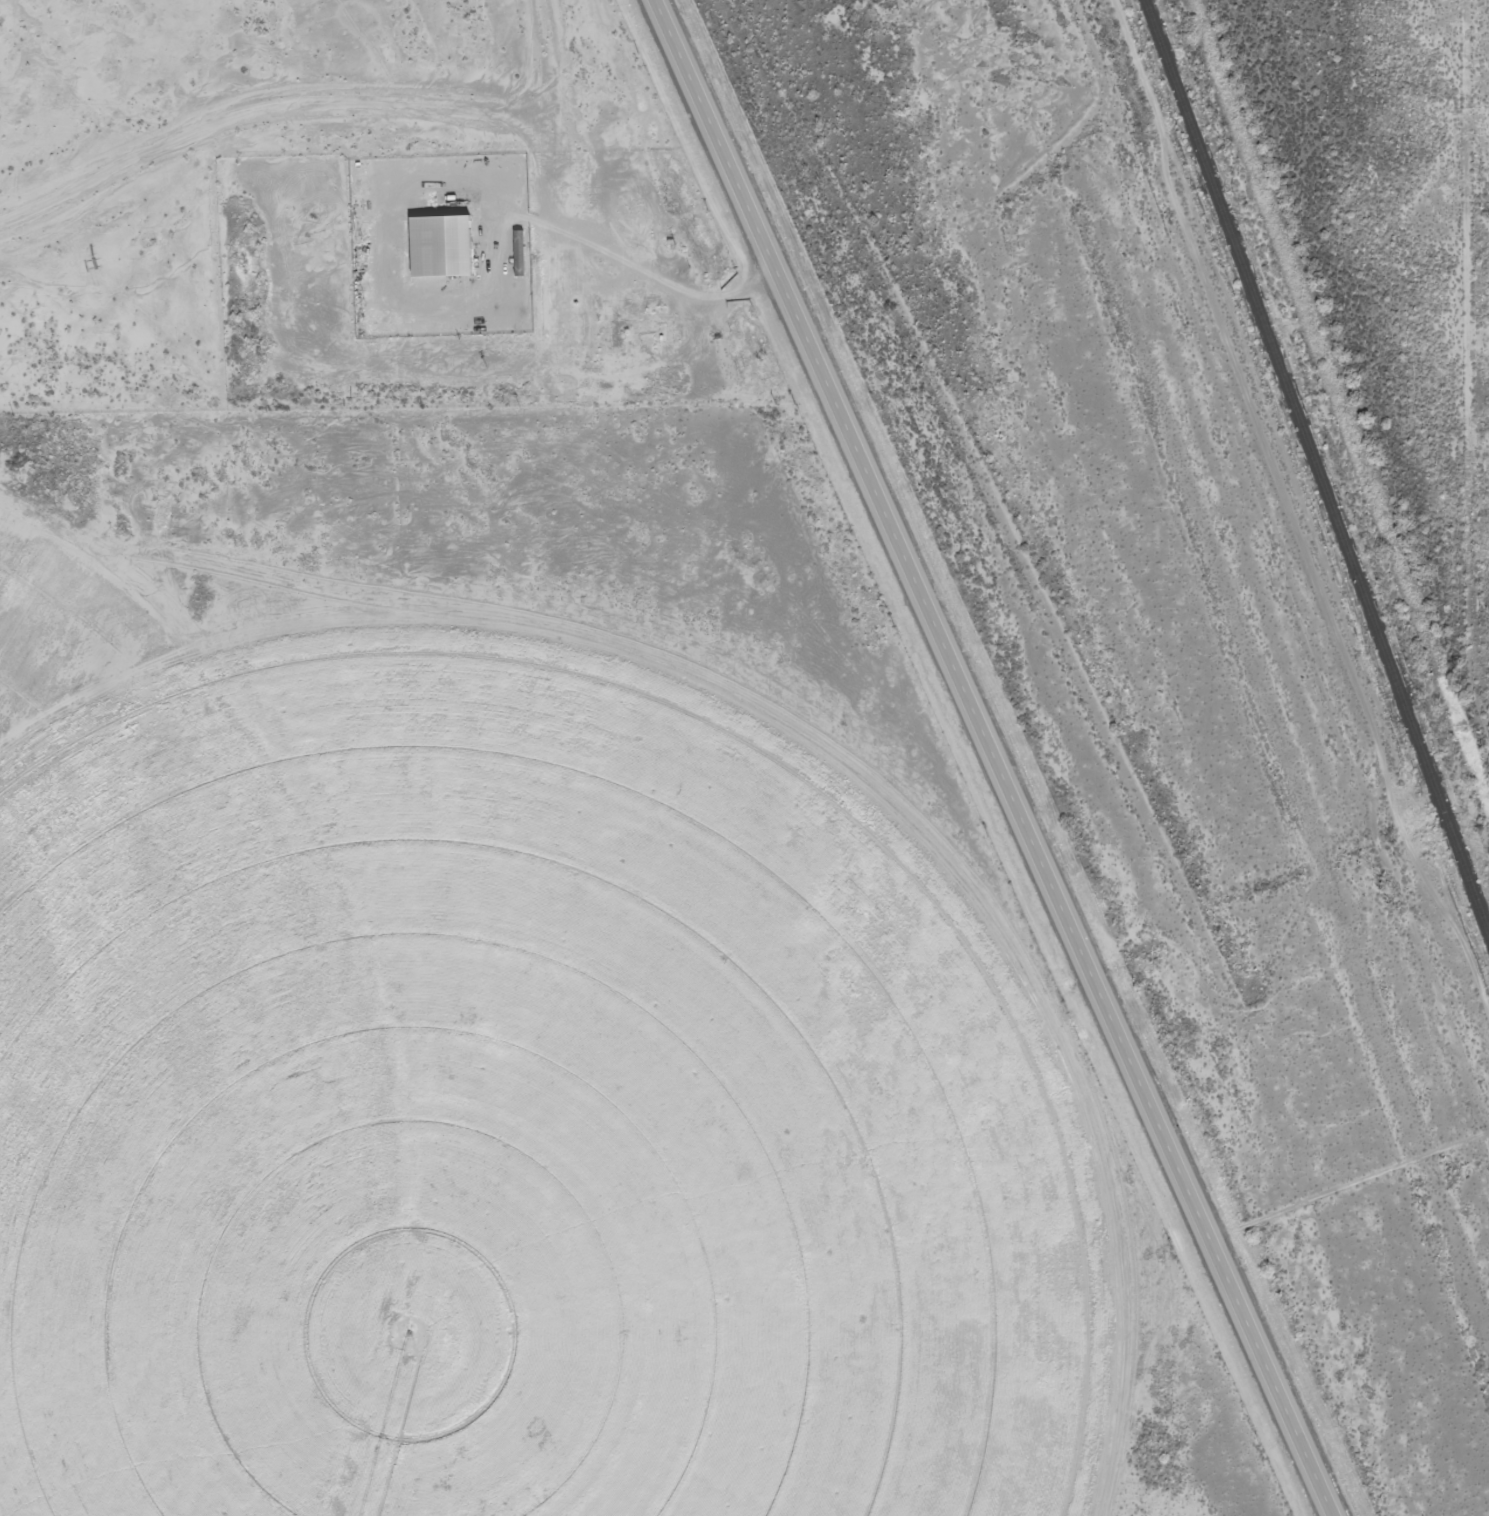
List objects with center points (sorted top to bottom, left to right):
building: (438, 248)
building: (517, 254)
railway: (1315, 469)
road: (988, 758)

